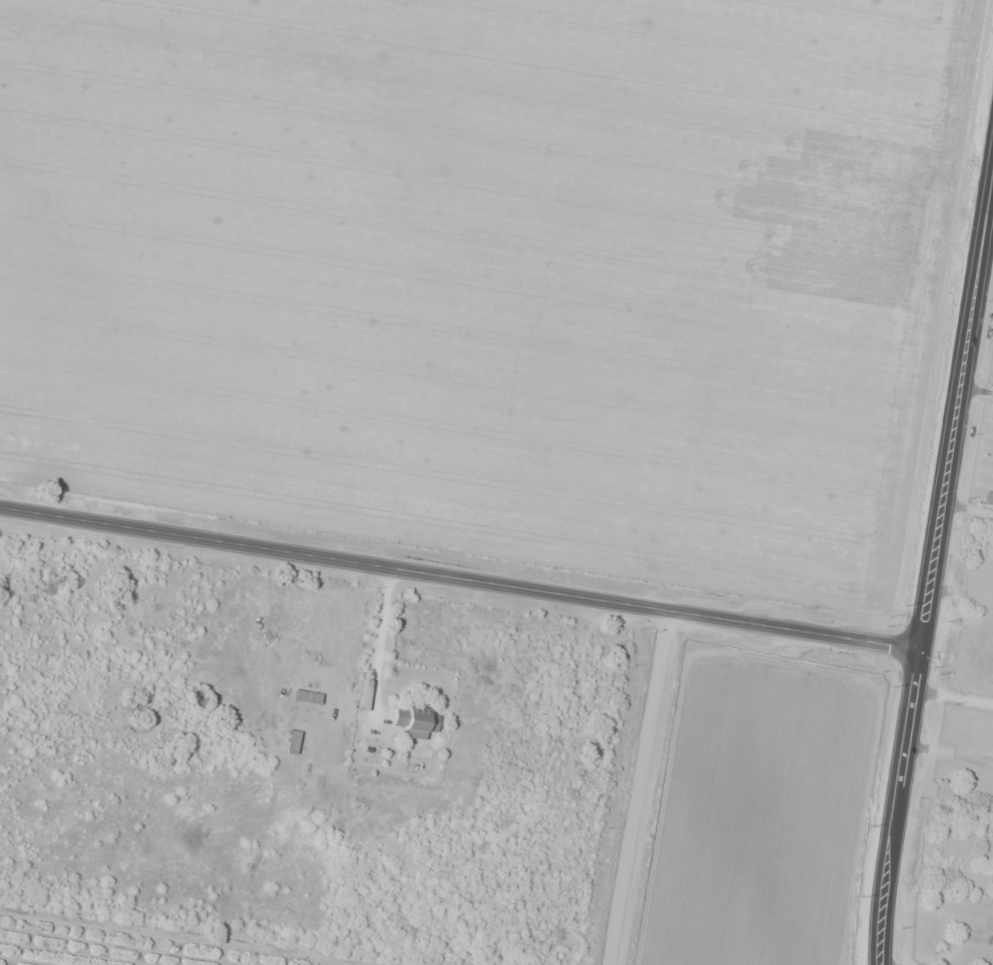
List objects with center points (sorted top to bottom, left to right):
road: (932, 565)
road: (459, 579)
building: (309, 697)
building: (415, 722)
building: (295, 742)
road: (638, 788)
road: (880, 960)

